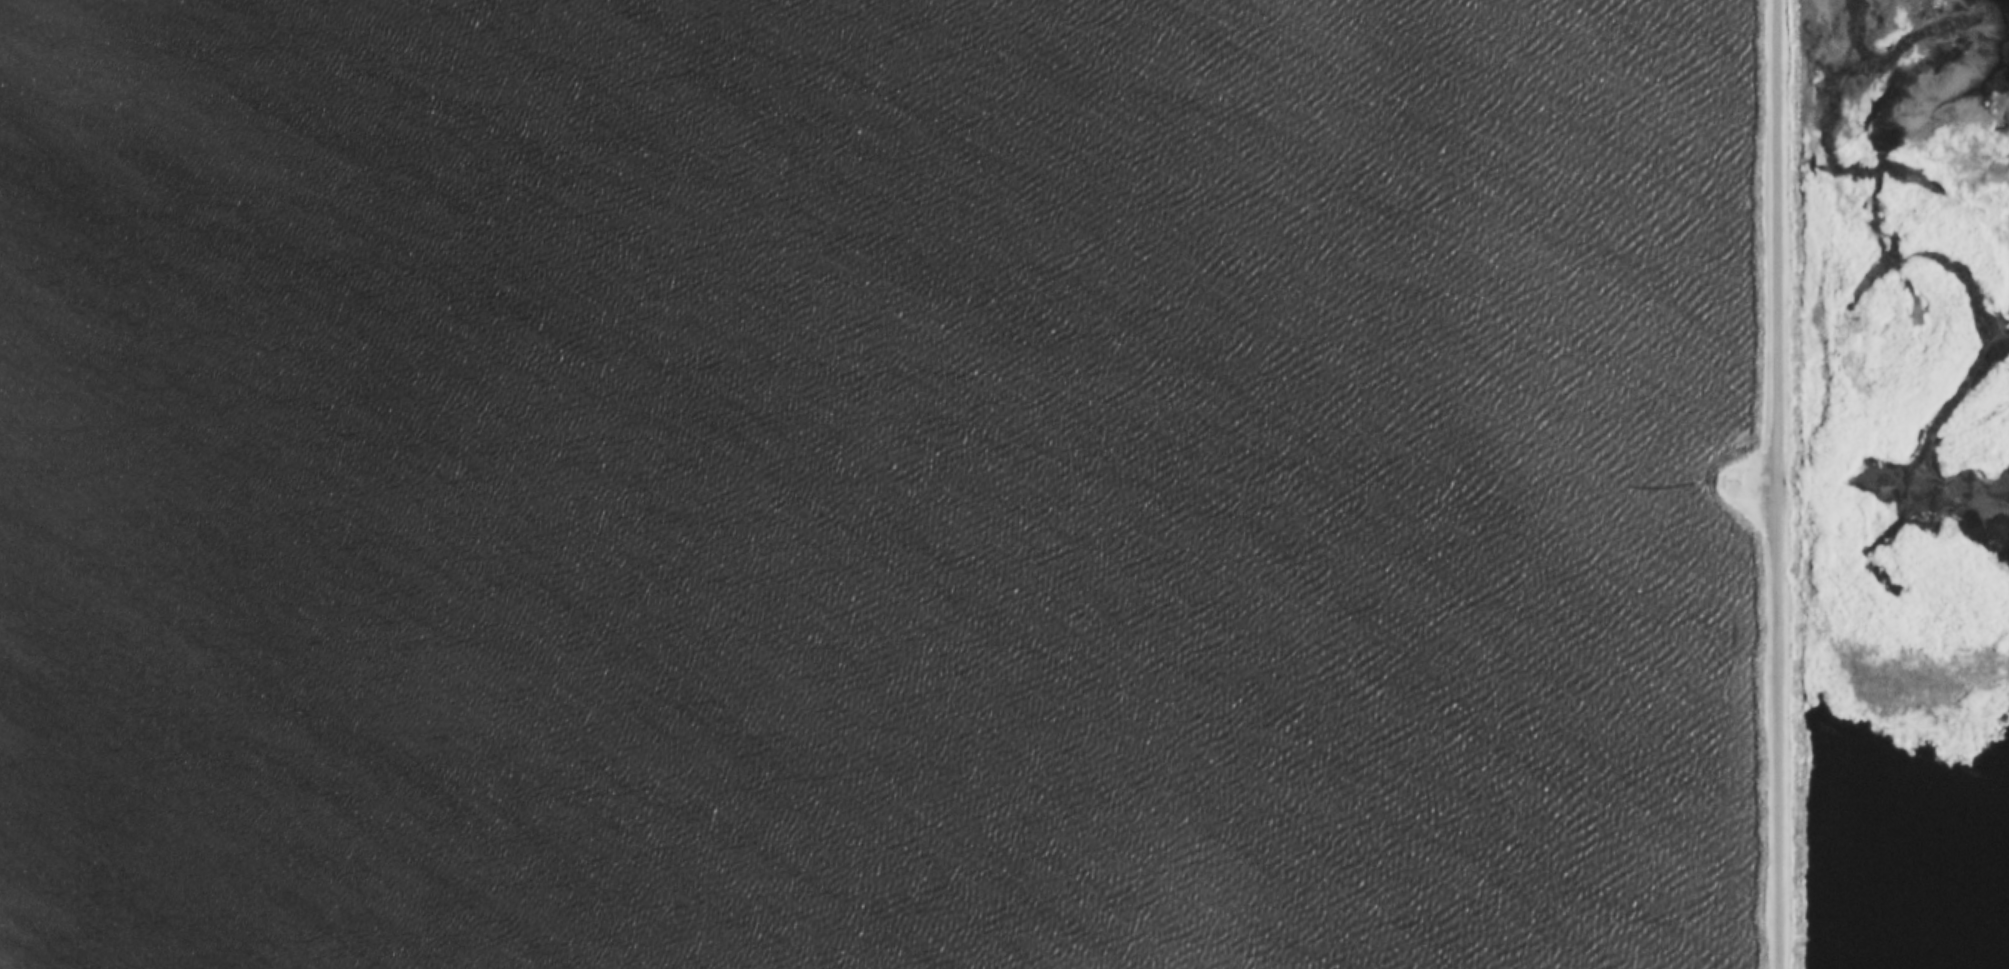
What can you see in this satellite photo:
road: (1782, 484)

